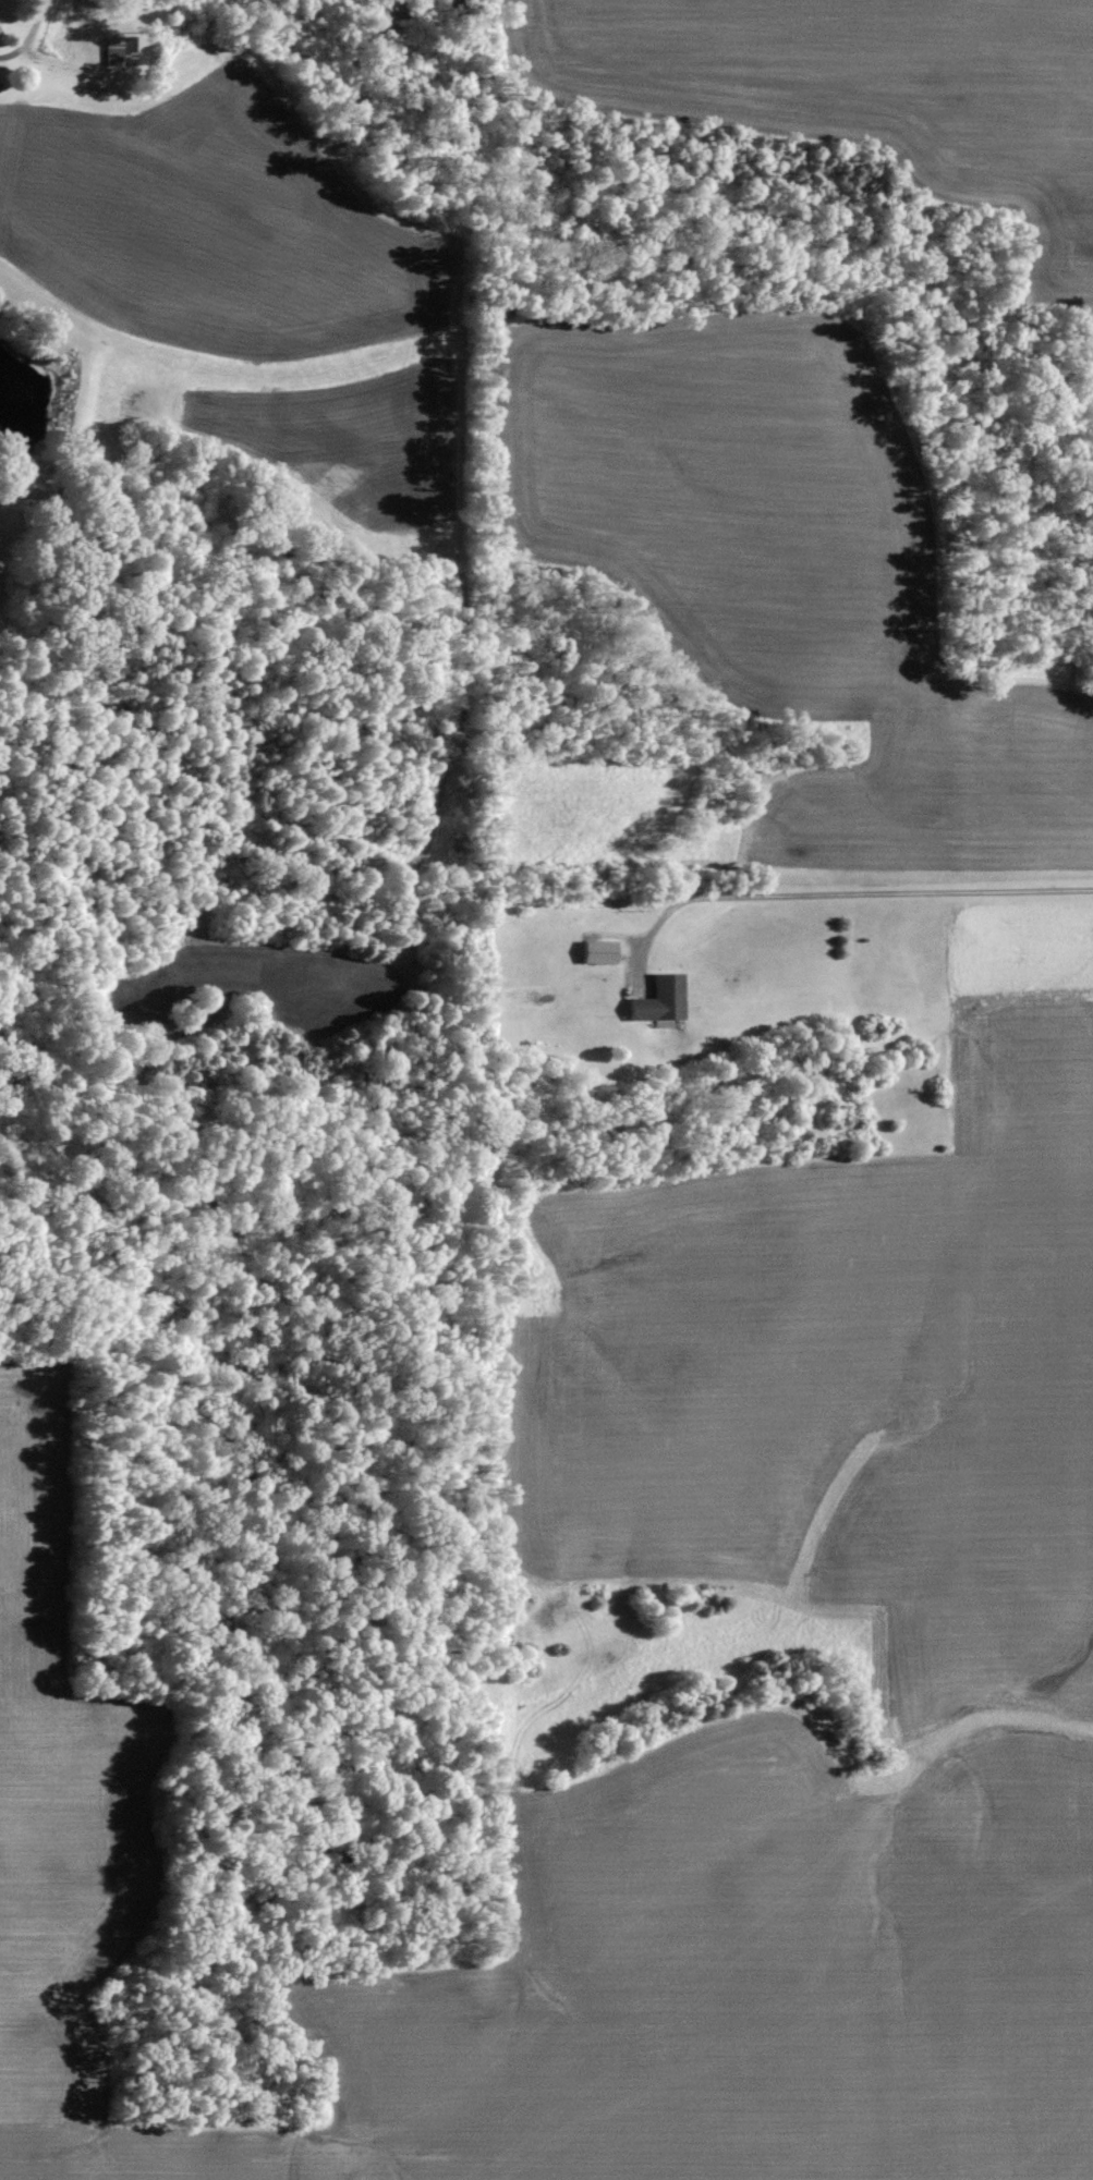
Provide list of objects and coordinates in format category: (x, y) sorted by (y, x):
road: (34, 19)
building: (119, 51)
road: (841, 894)
building: (598, 953)
building: (660, 1000)

